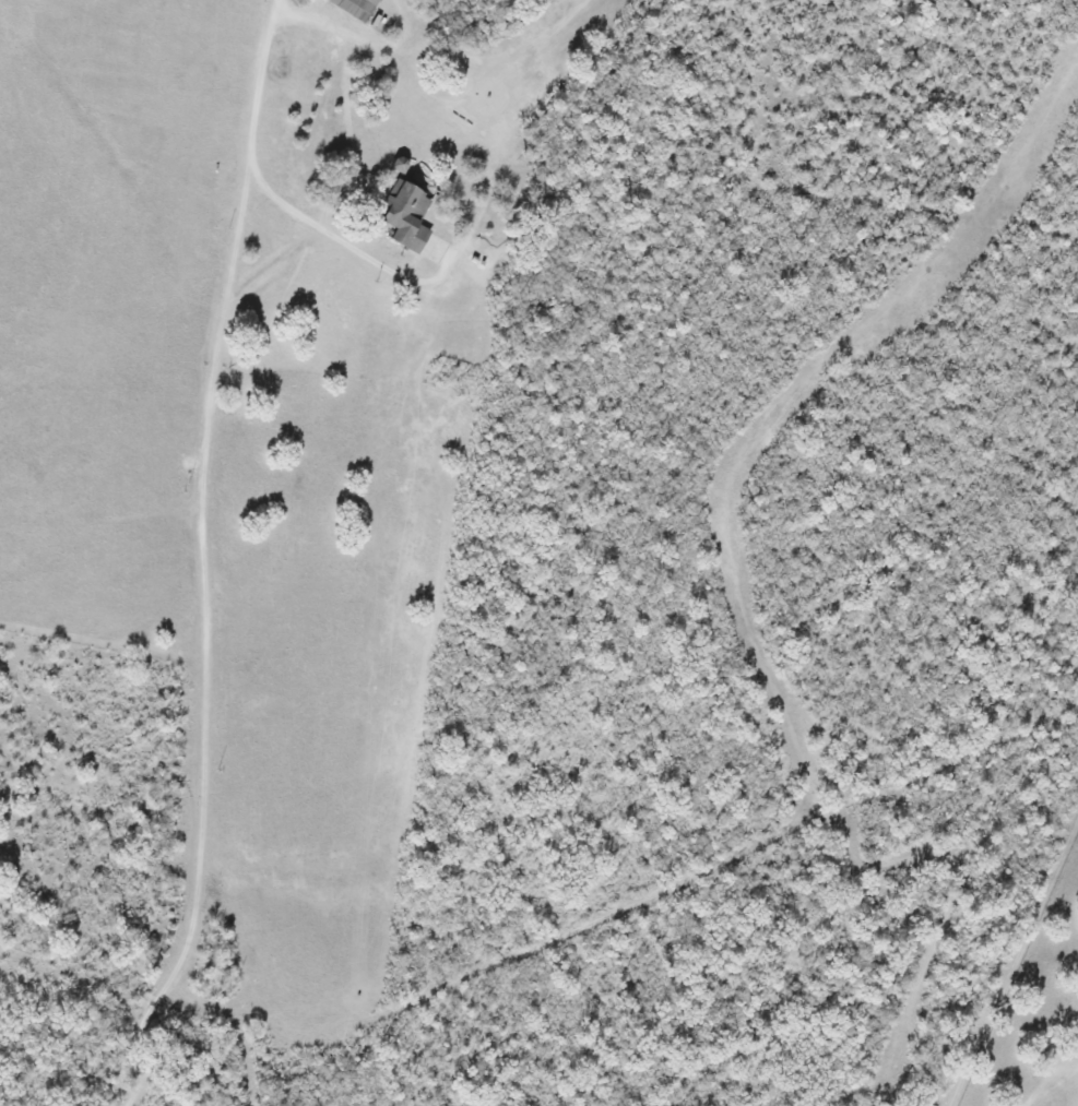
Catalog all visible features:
building: (356, 8)
building: (406, 216)
road: (234, 702)

